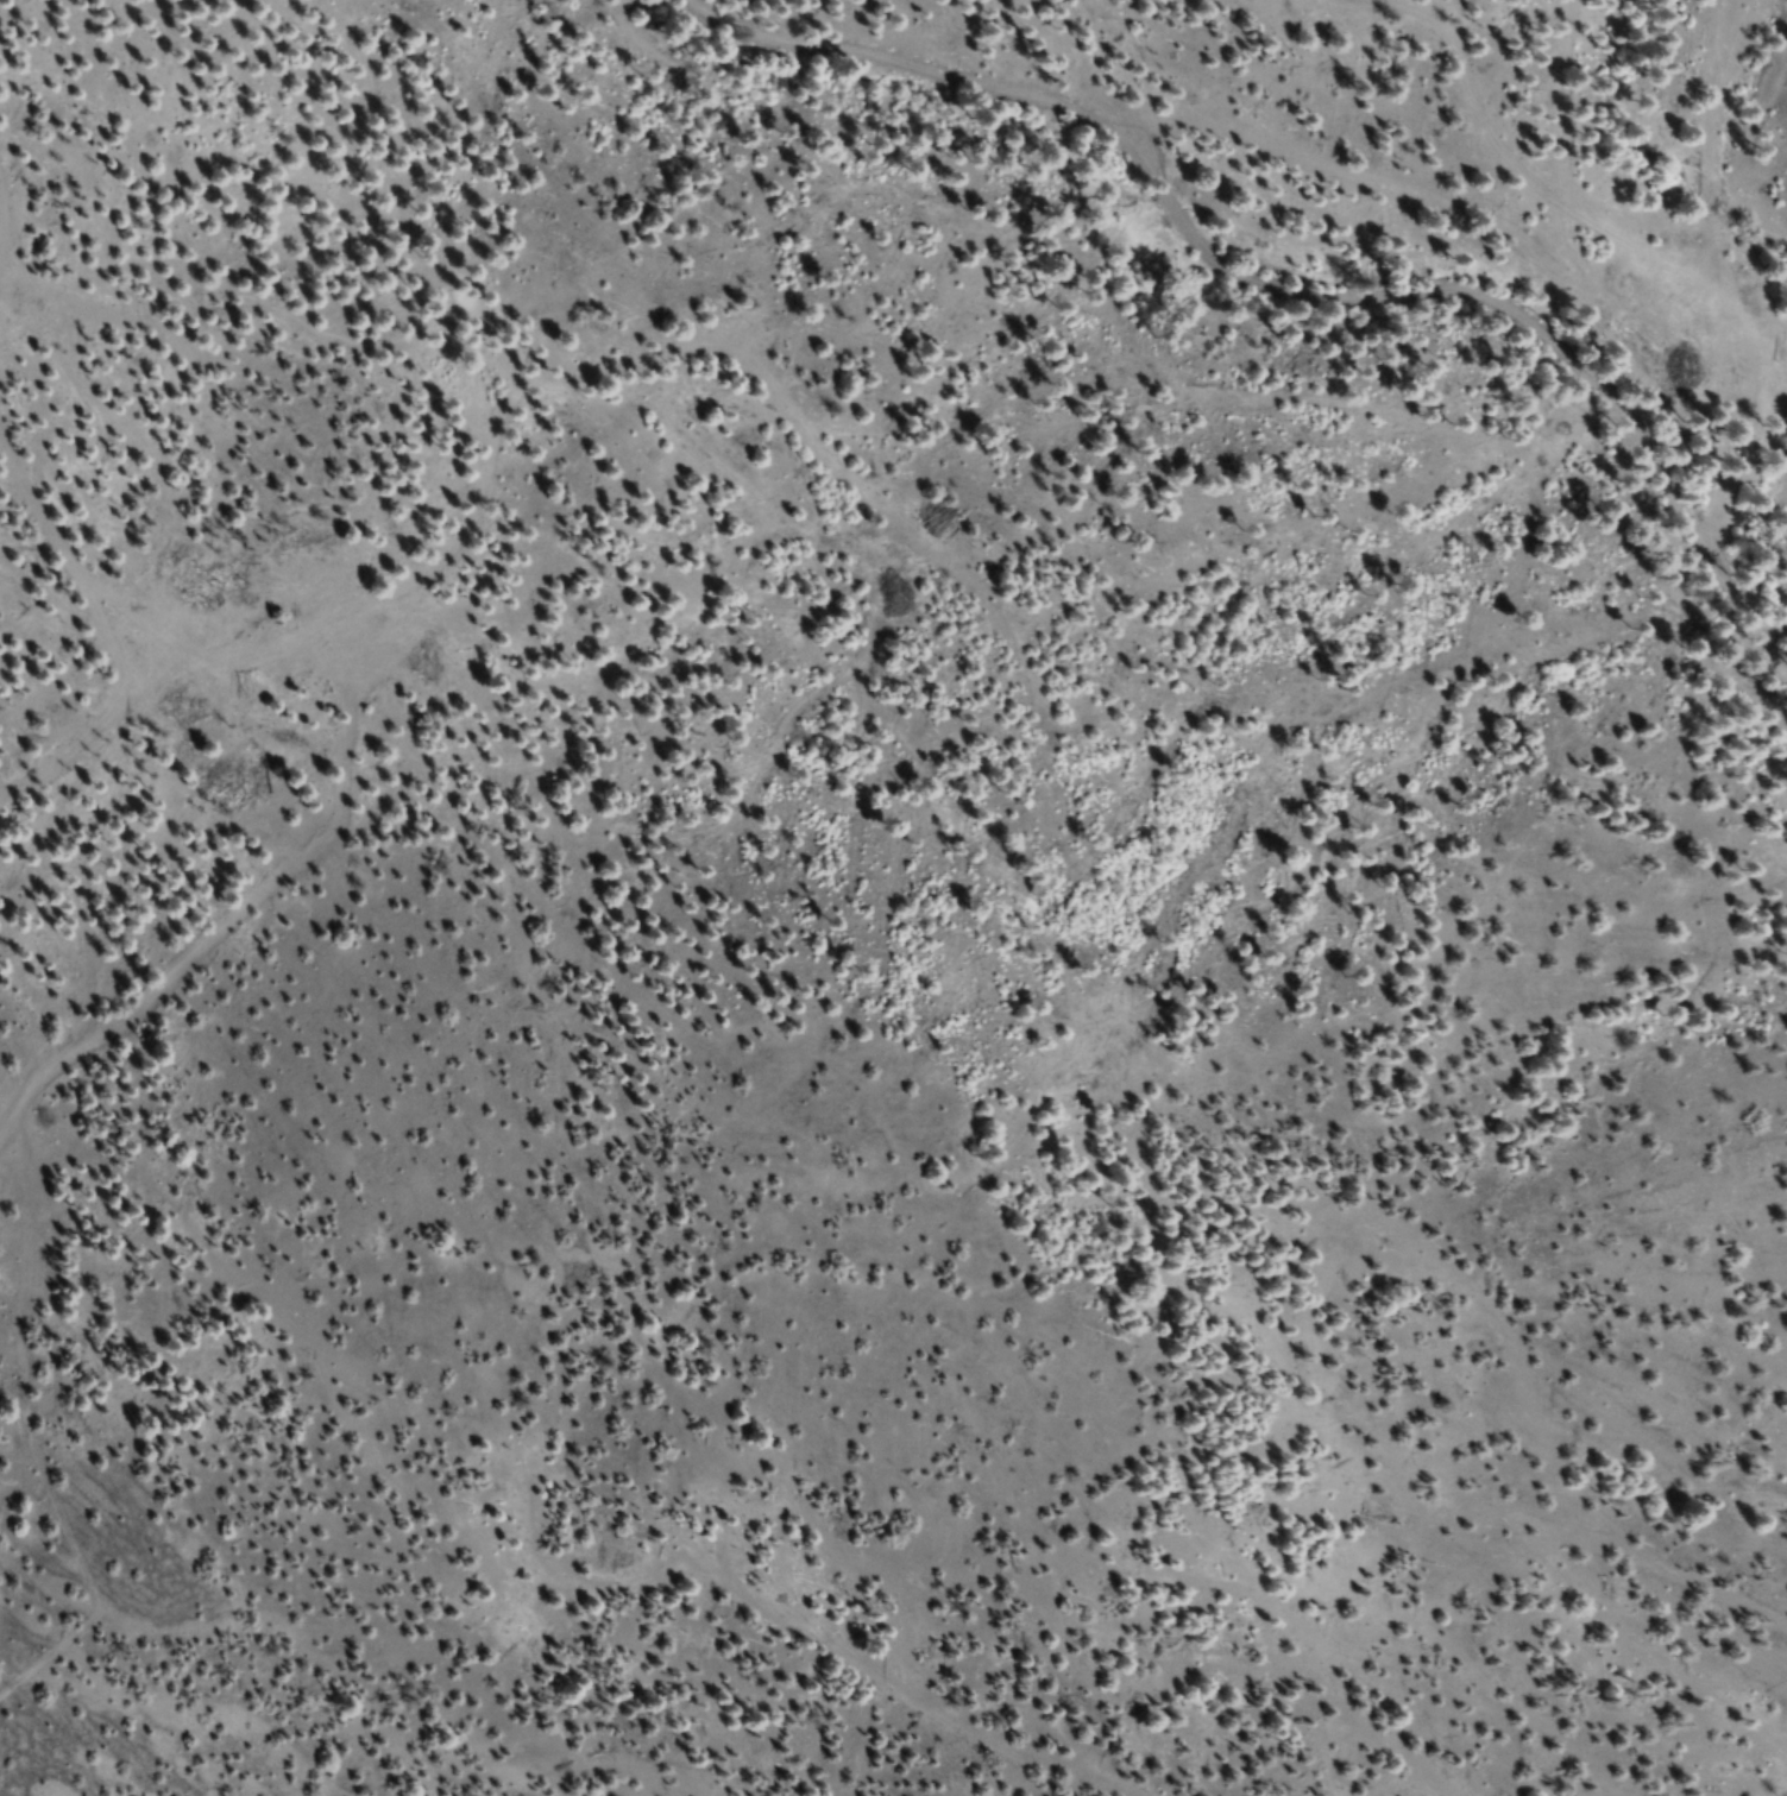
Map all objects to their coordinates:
road: (1649, 300)

